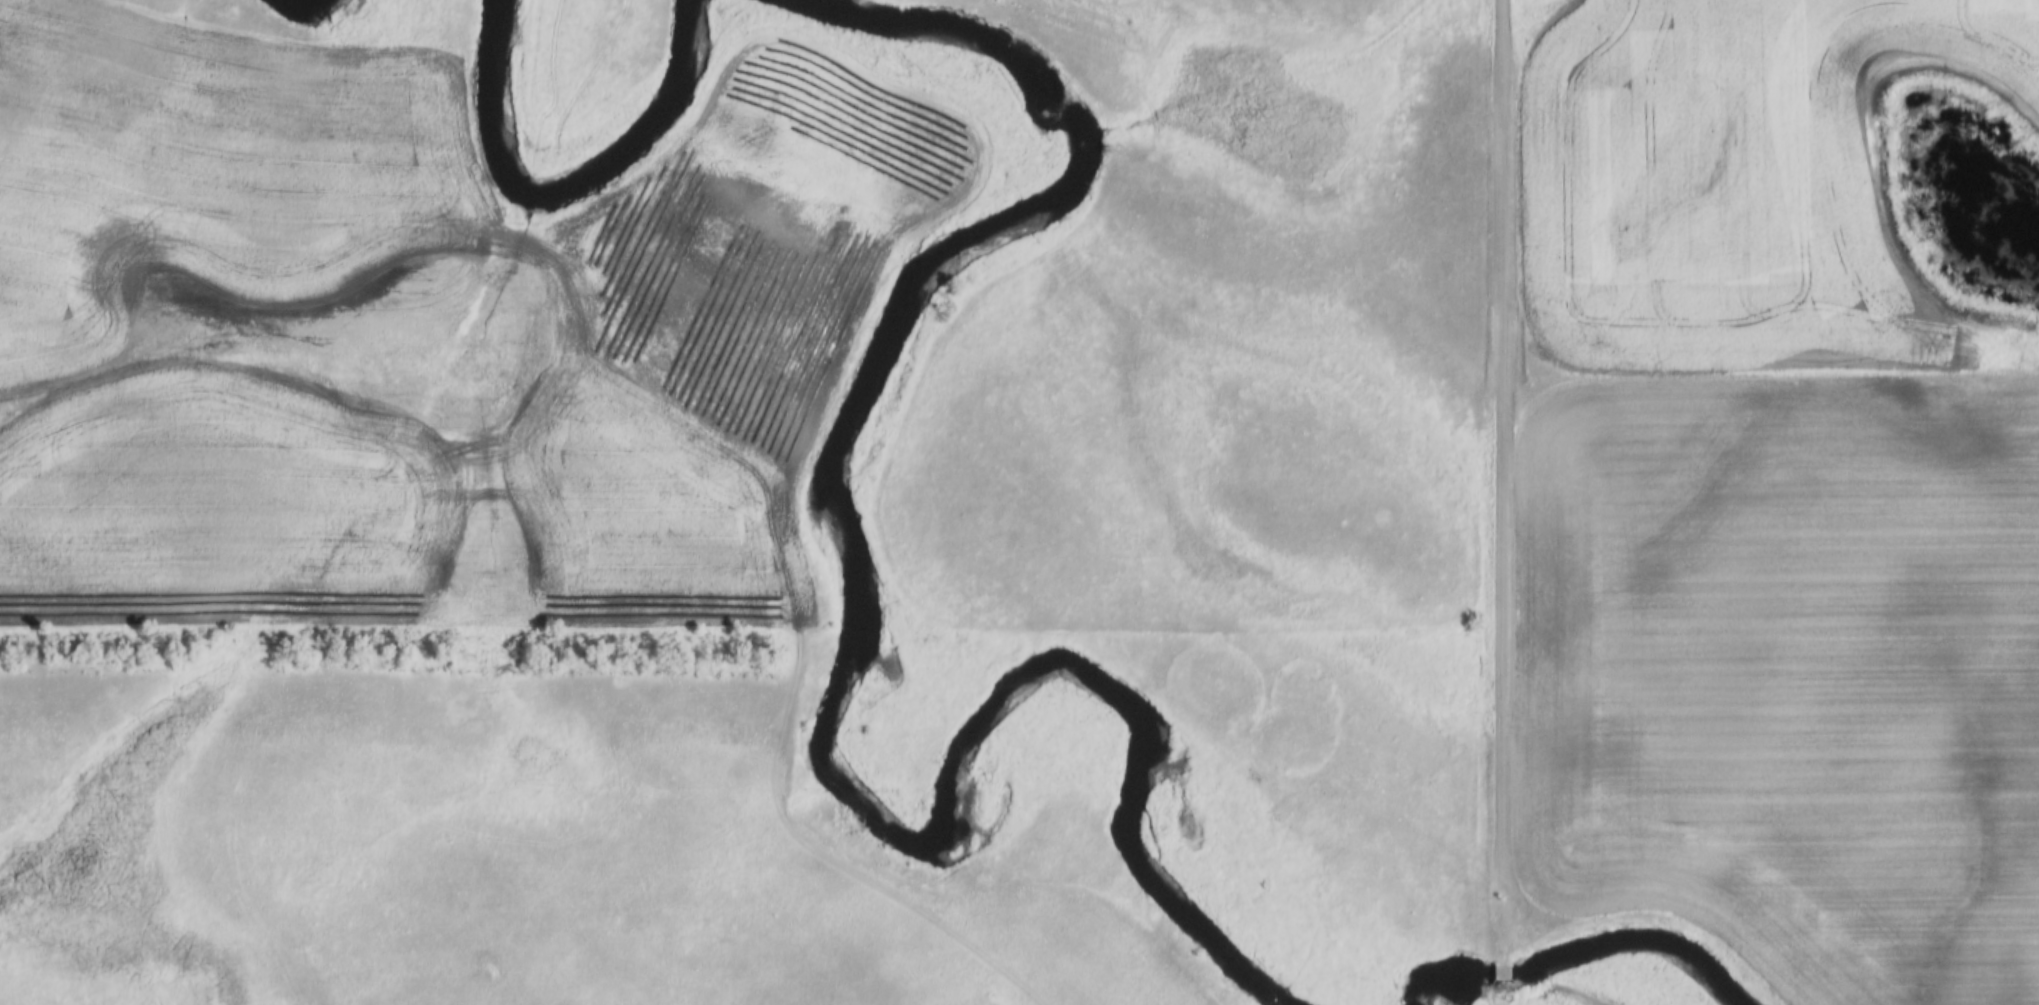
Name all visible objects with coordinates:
river: (580, 183)
road: (1509, 487)
river: (855, 646)
river: (1623, 951)
road: (1501, 982)
river: (1481, 987)
road: (1502, 997)

